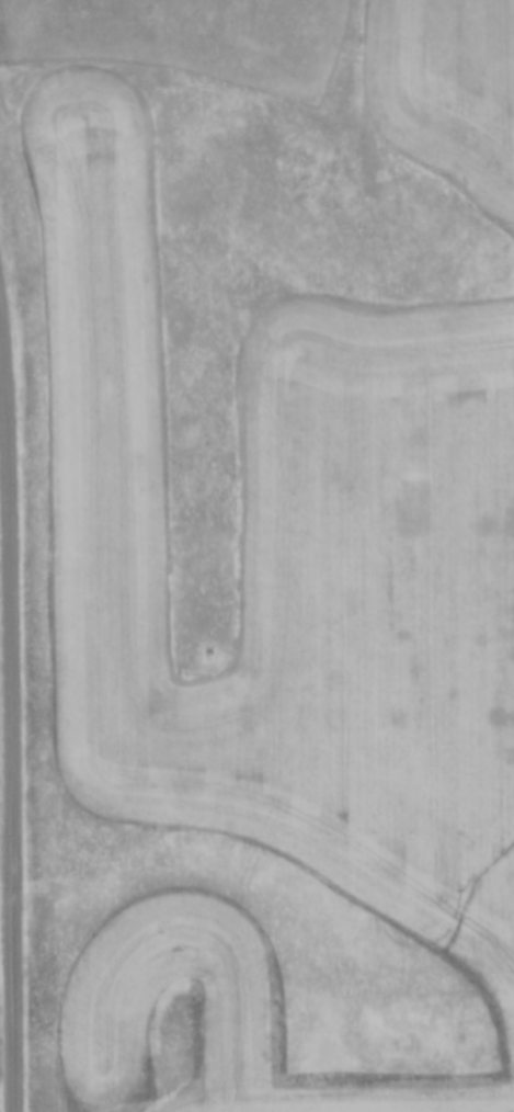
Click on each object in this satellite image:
road: (11, 705)

